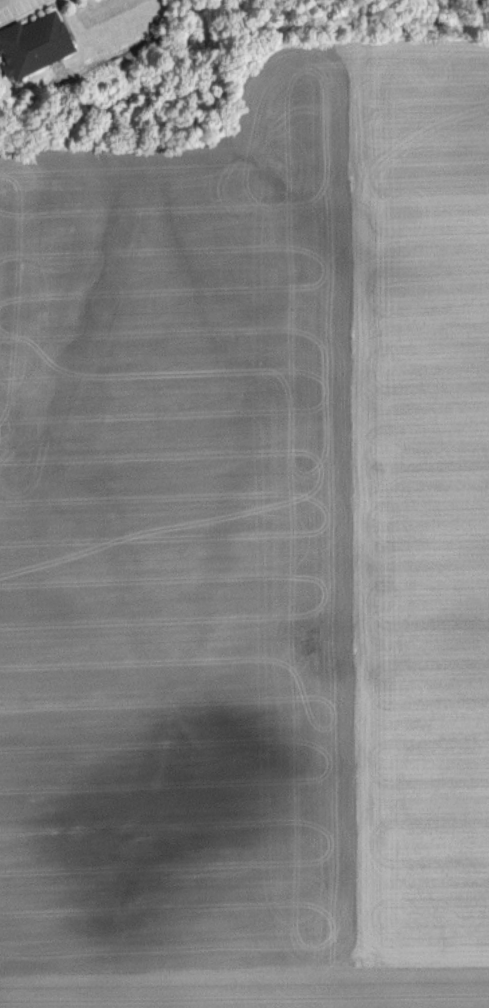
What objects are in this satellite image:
building: (33, 43)

